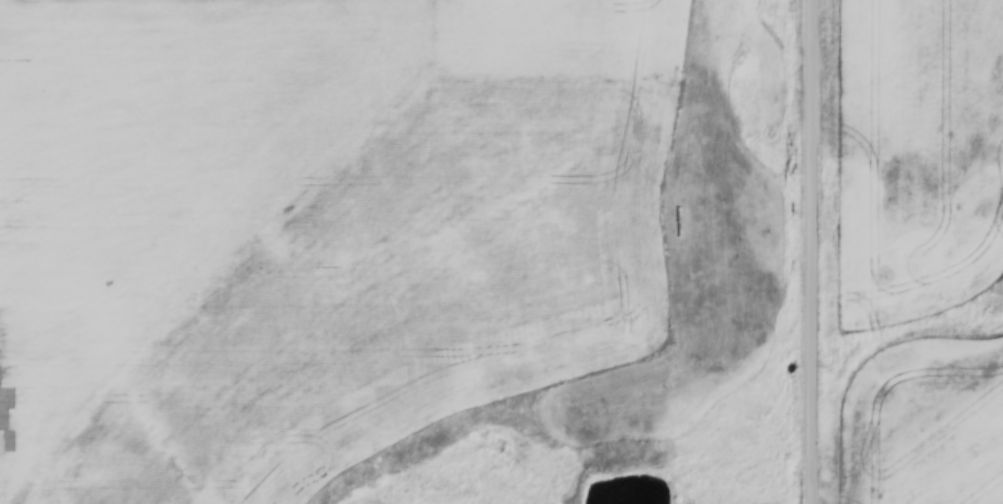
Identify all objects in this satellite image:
road: (815, 252)

